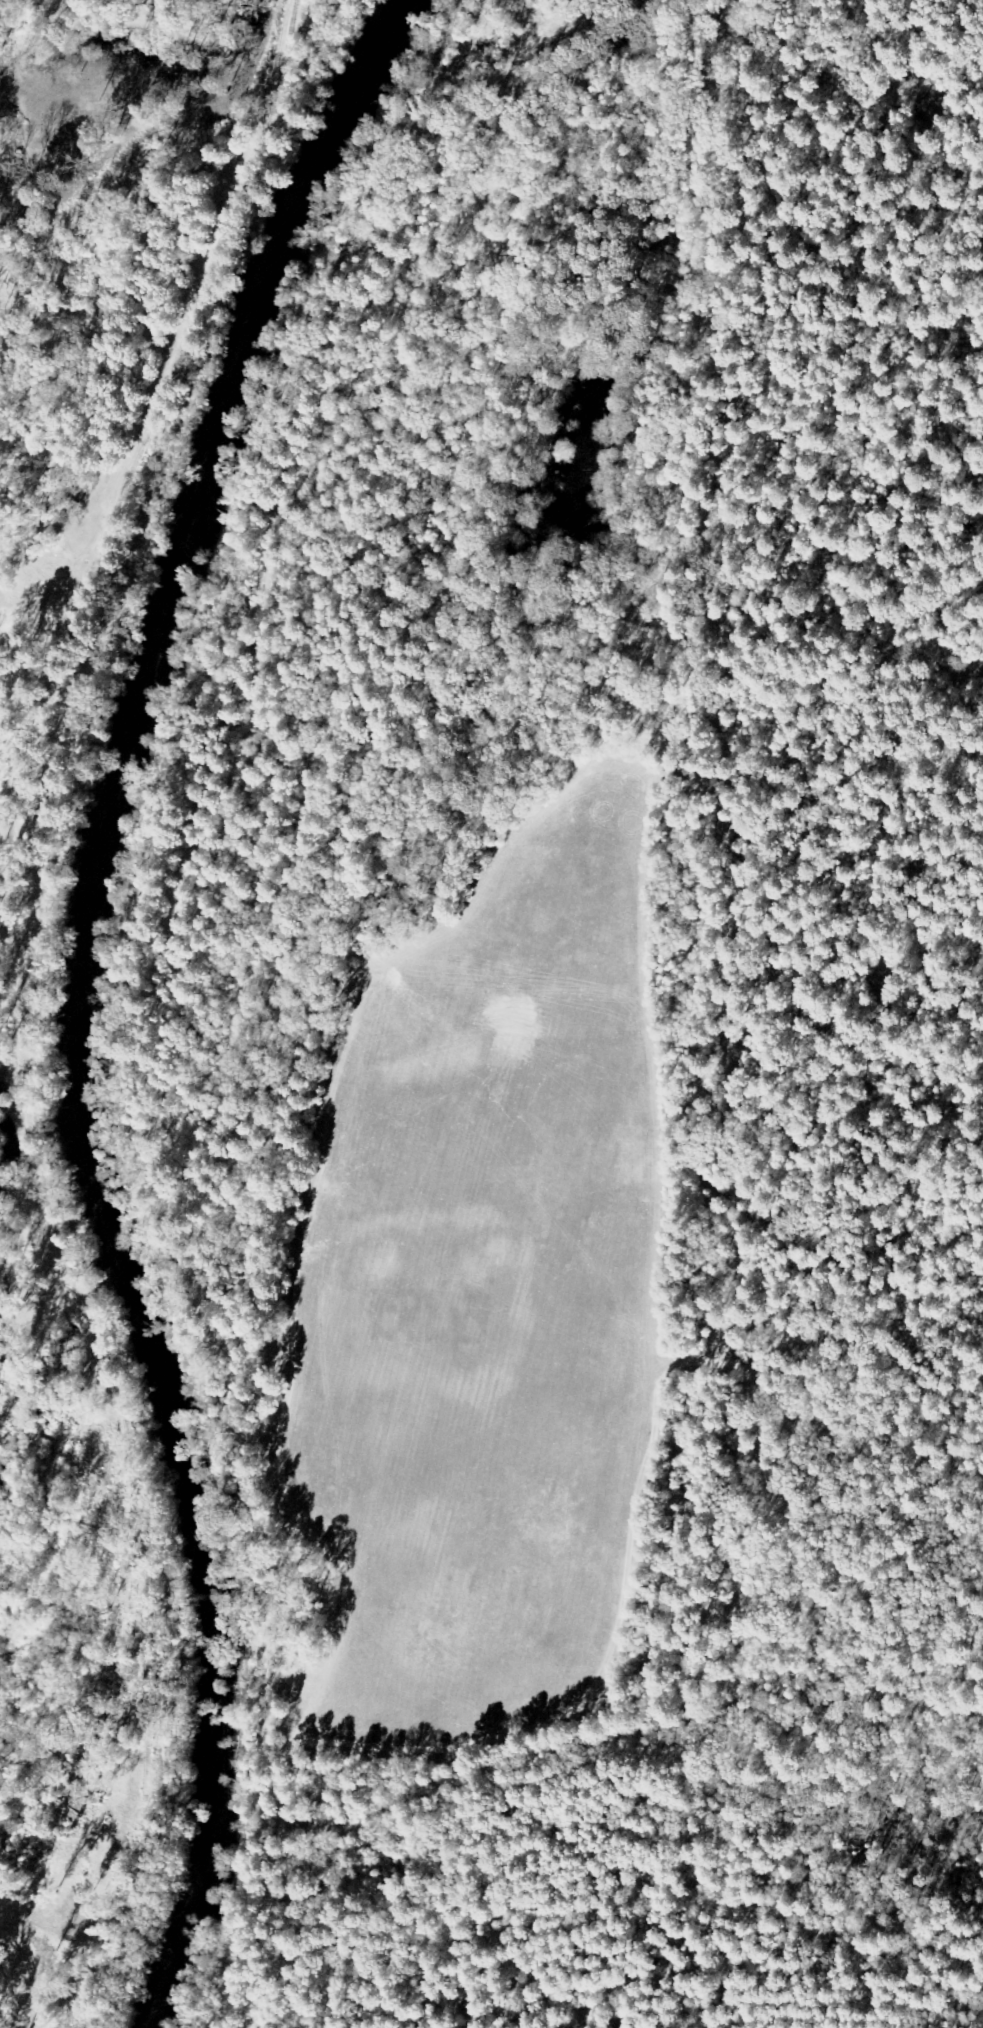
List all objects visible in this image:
river: (89, 997)
railway: (20, 1005)

